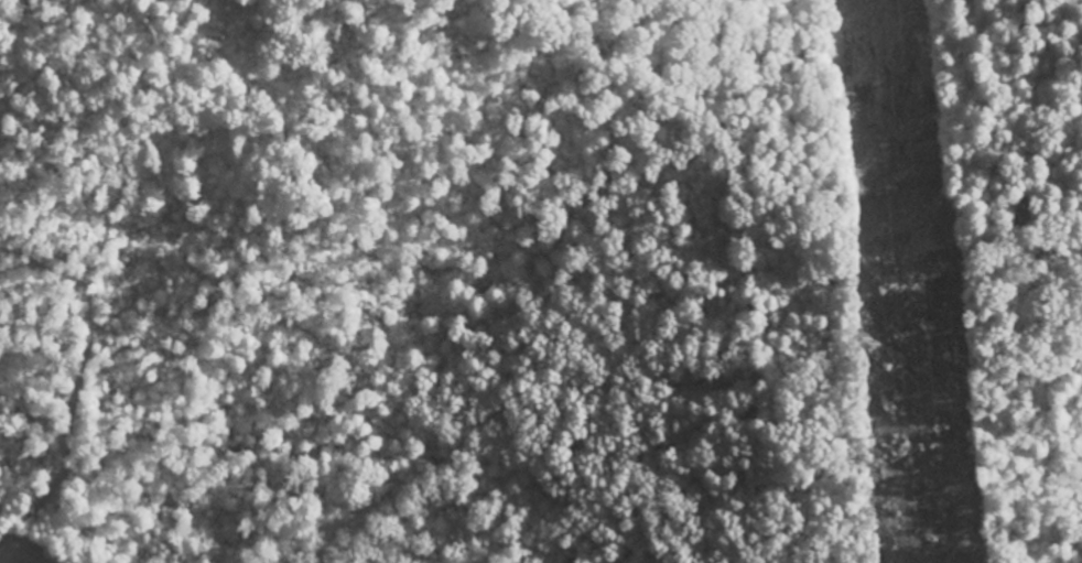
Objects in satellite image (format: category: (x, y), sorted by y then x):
power tower: (913, 277)

